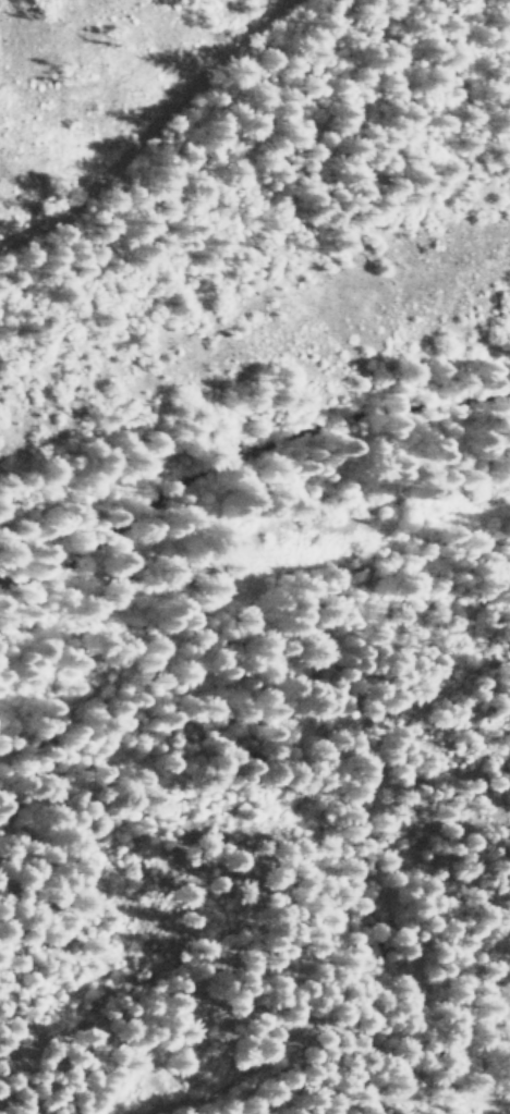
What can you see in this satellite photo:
road: (153, 140)
road: (262, 805)

